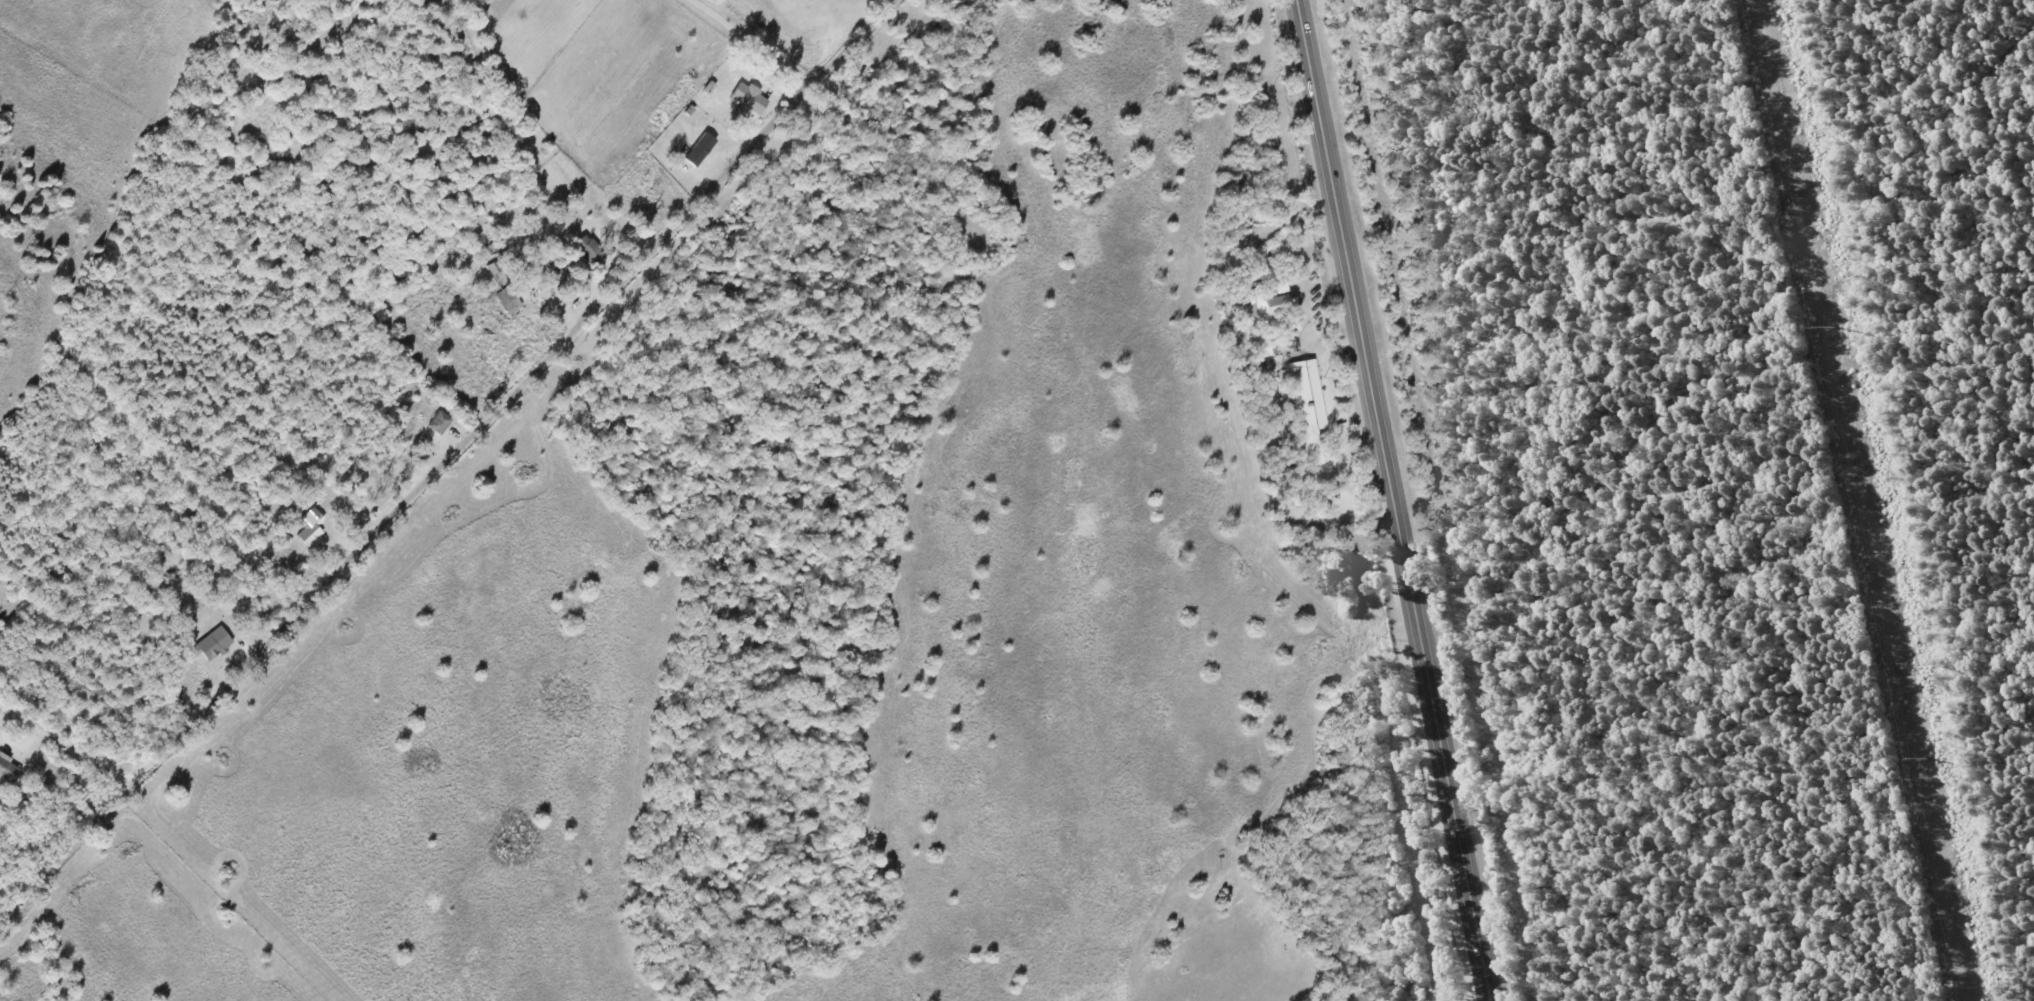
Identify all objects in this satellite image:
road: (753, 43)
building: (748, 99)
building: (700, 149)
building: (588, 249)
building: (508, 300)
building: (1264, 306)
power tower: (1831, 327)
building: (1308, 408)
building: (439, 423)
road: (462, 447)
road: (1400, 500)
building: (310, 528)
building: (212, 645)
power tower: (1923, 758)
building: (9, 770)

